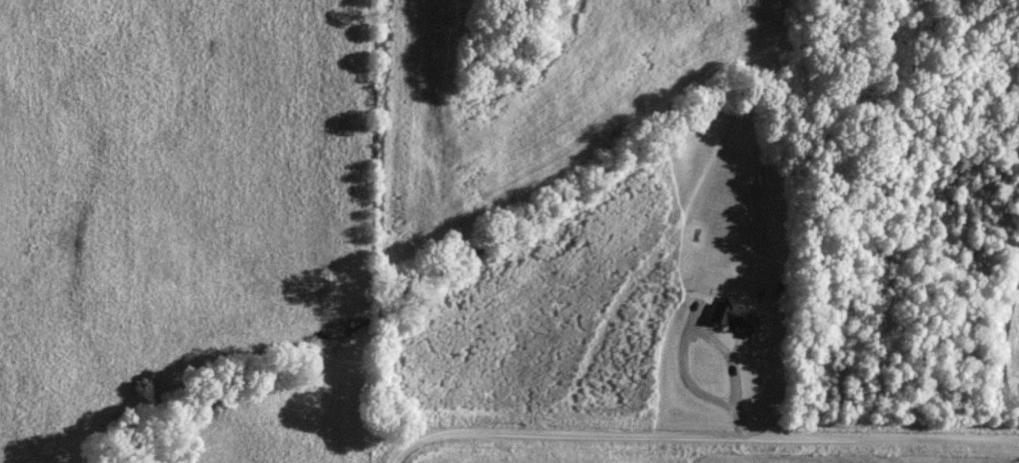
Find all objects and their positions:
building: (734, 318)
road: (699, 434)

